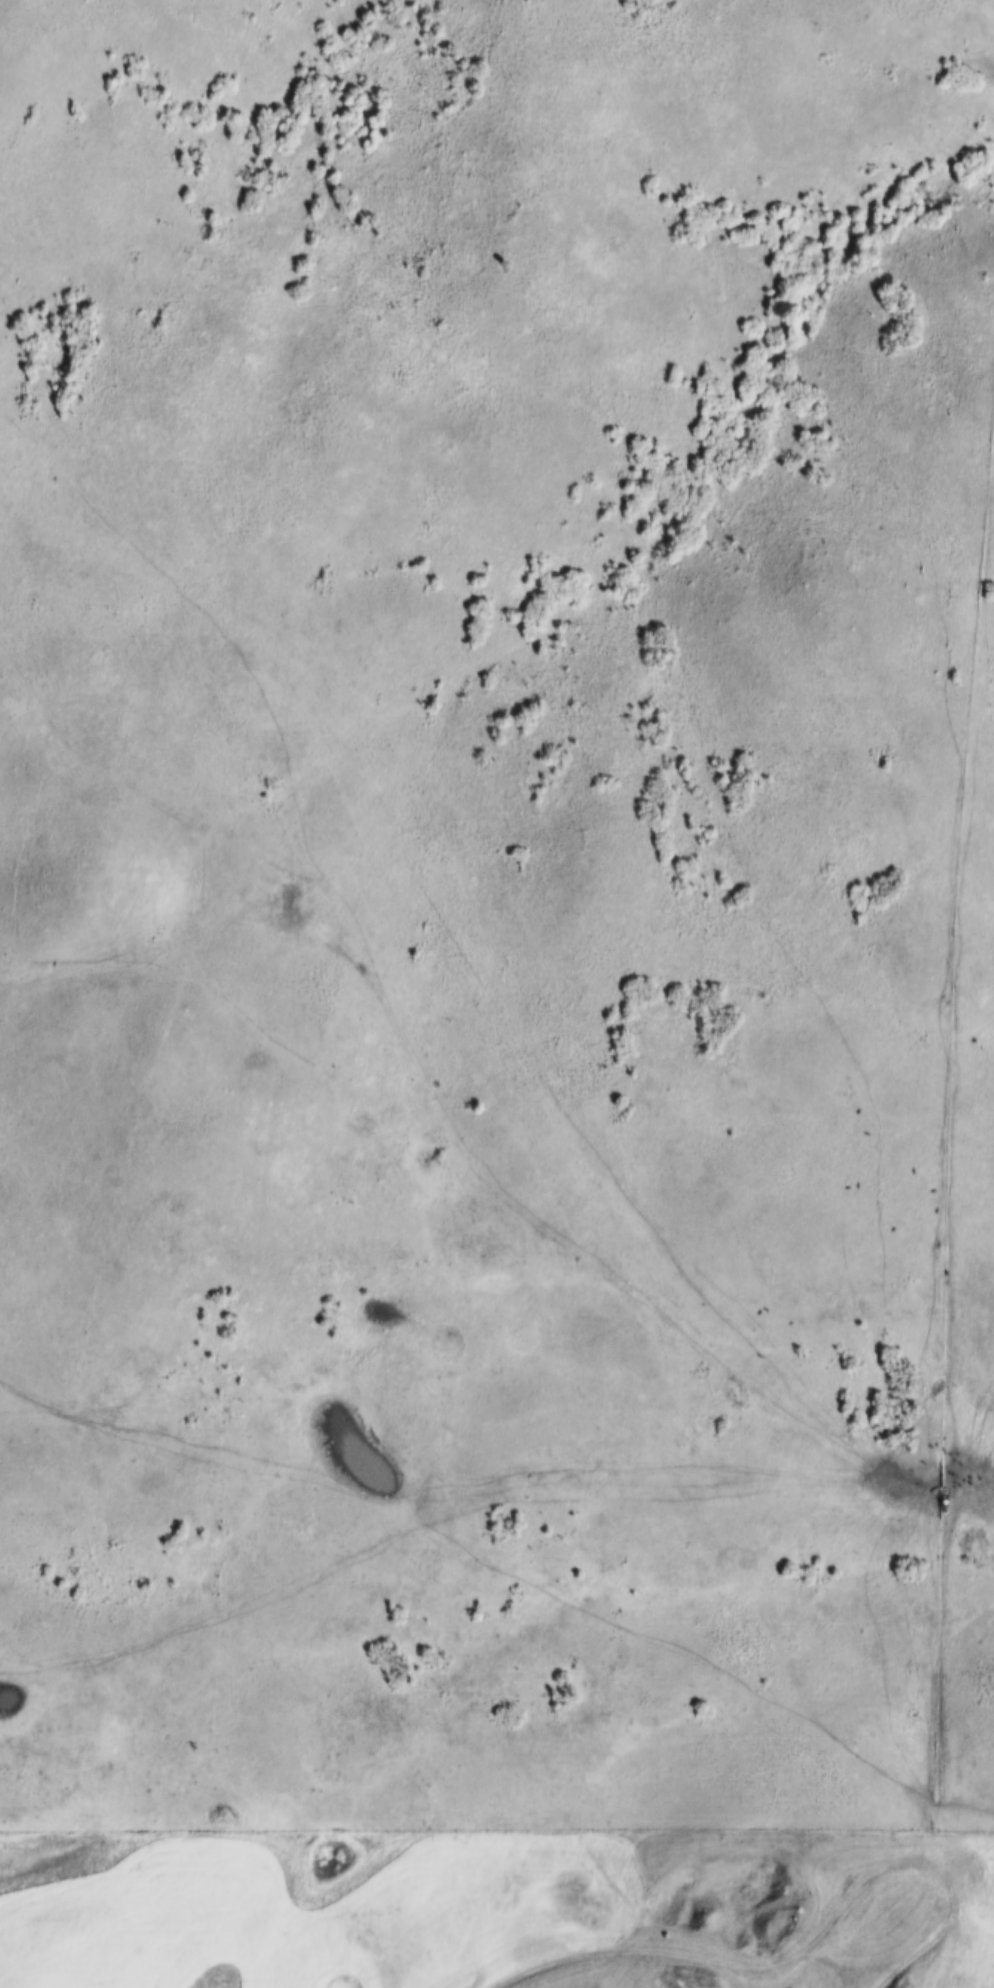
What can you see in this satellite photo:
road: (671, 1952)
quarry: (759, 1978)

